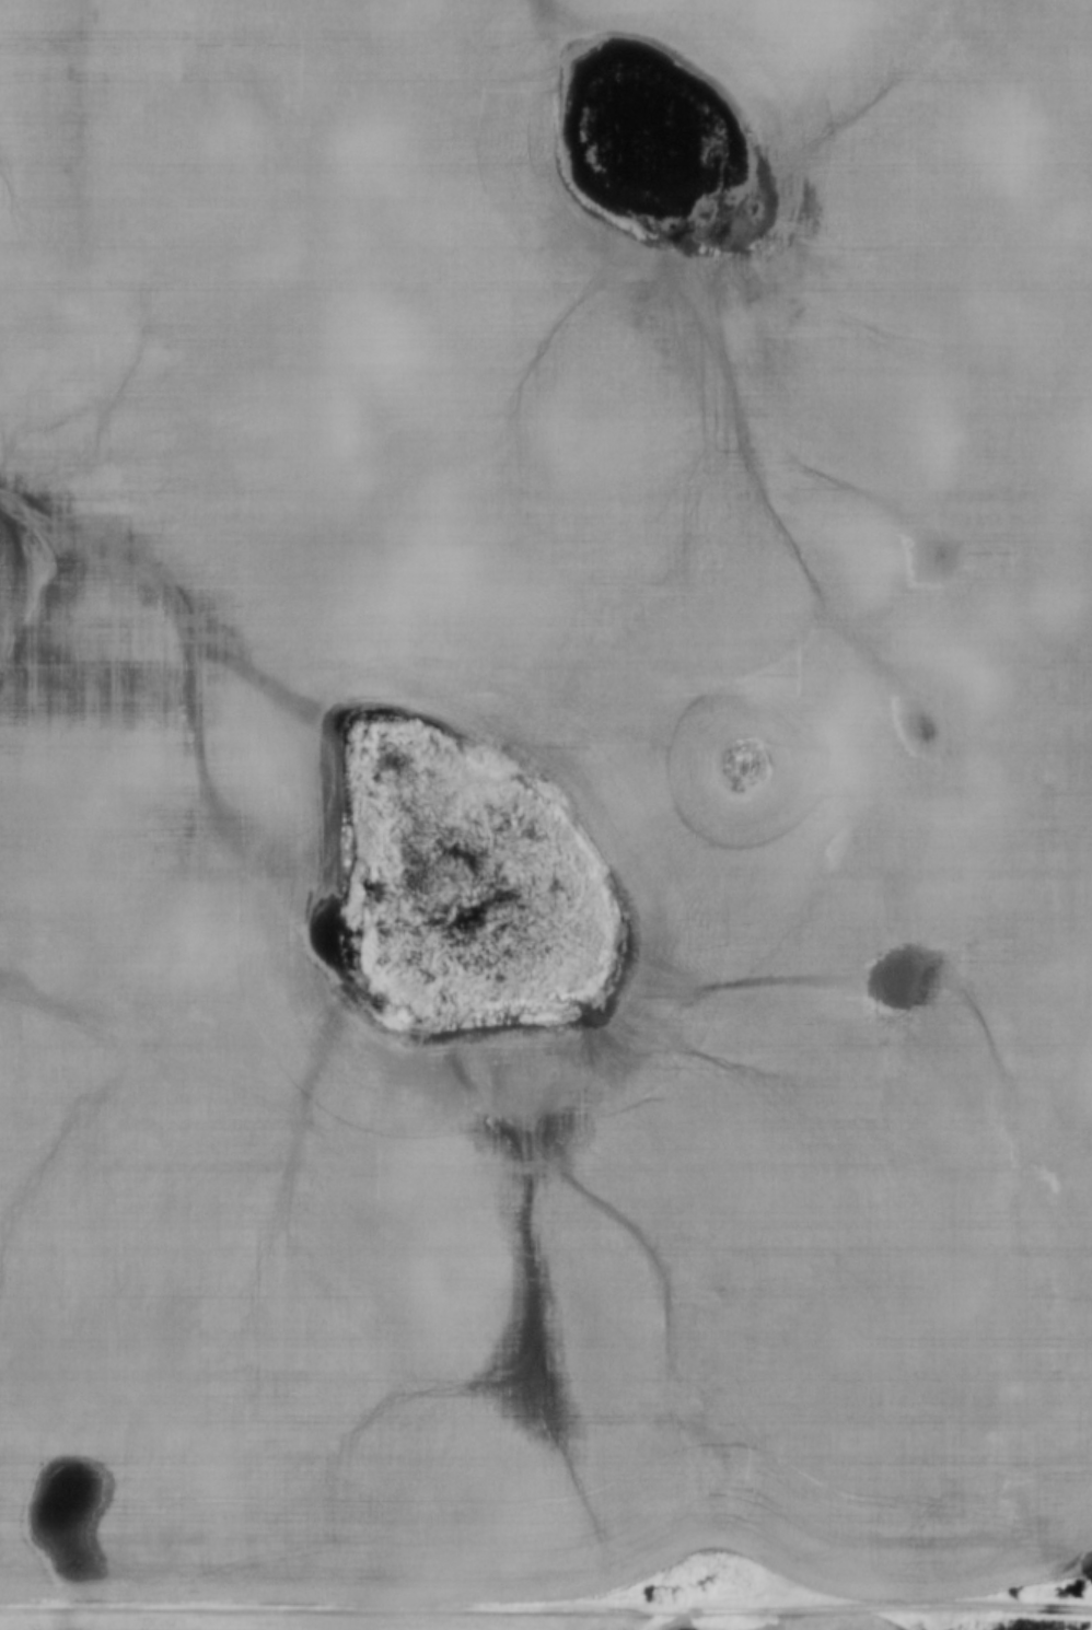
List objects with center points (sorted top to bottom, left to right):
road: (546, 1609)

